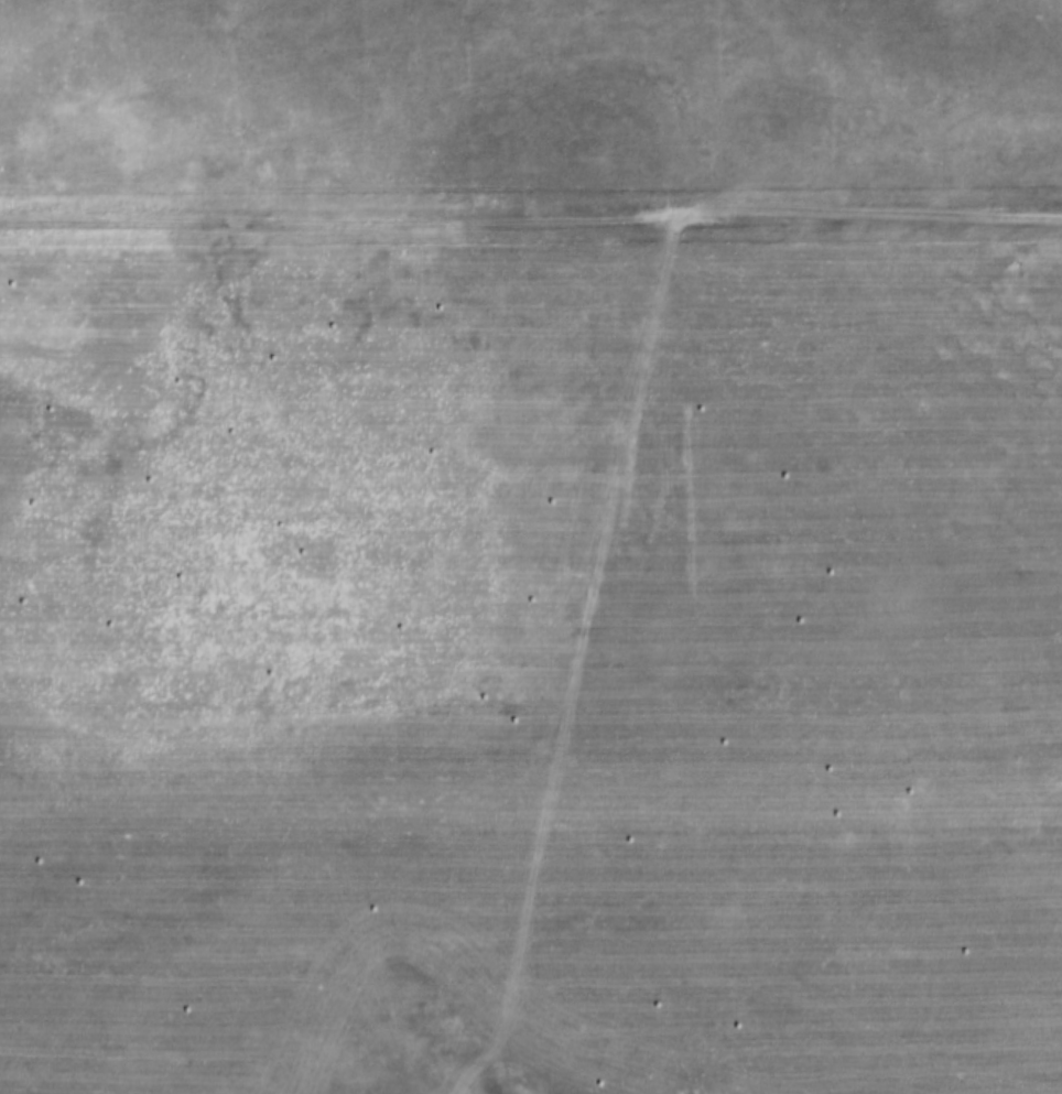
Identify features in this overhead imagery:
road: (530, 219)

